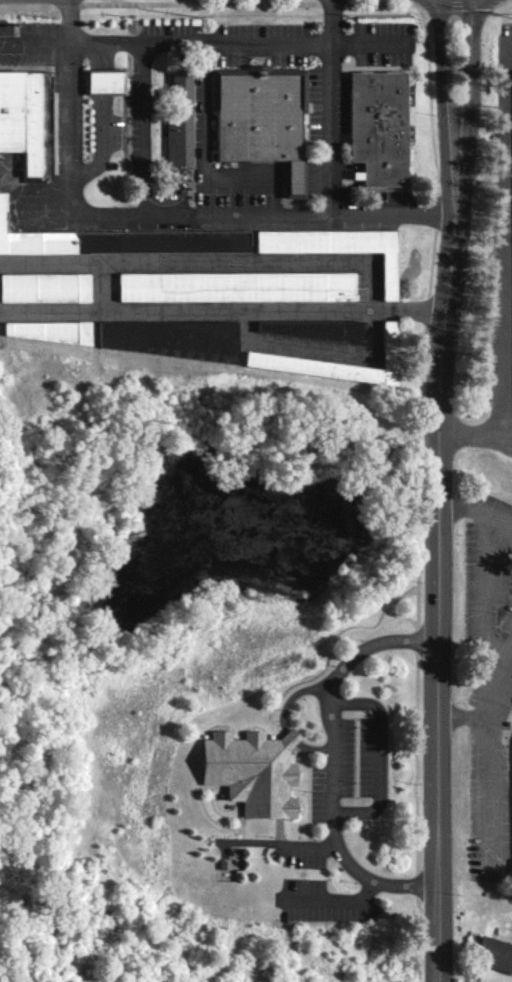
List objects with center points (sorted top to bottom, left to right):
road: (56, 44)
road: (84, 44)
road: (121, 44)
road: (151, 44)
road: (370, 45)
road: (329, 107)
building: (180, 117)
building: (26, 118)
building: (262, 118)
building: (377, 127)
road: (205, 145)
road: (292, 178)
road: (316, 178)
road: (36, 196)
road: (178, 213)
building: (118, 240)
road: (505, 246)
building: (337, 247)
building: (235, 286)
building: (45, 287)
road: (222, 308)
building: (46, 331)
building: (387, 341)
road: (475, 438)
road: (436, 490)
road: (475, 514)
road: (482, 596)
road: (400, 618)
road: (293, 689)
road: (290, 695)
road: (464, 715)
road: (288, 736)
road: (417, 743)
road: (310, 747)
road: (492, 753)
road: (377, 756)
road: (329, 760)
building: (250, 770)
building: (493, 954)

